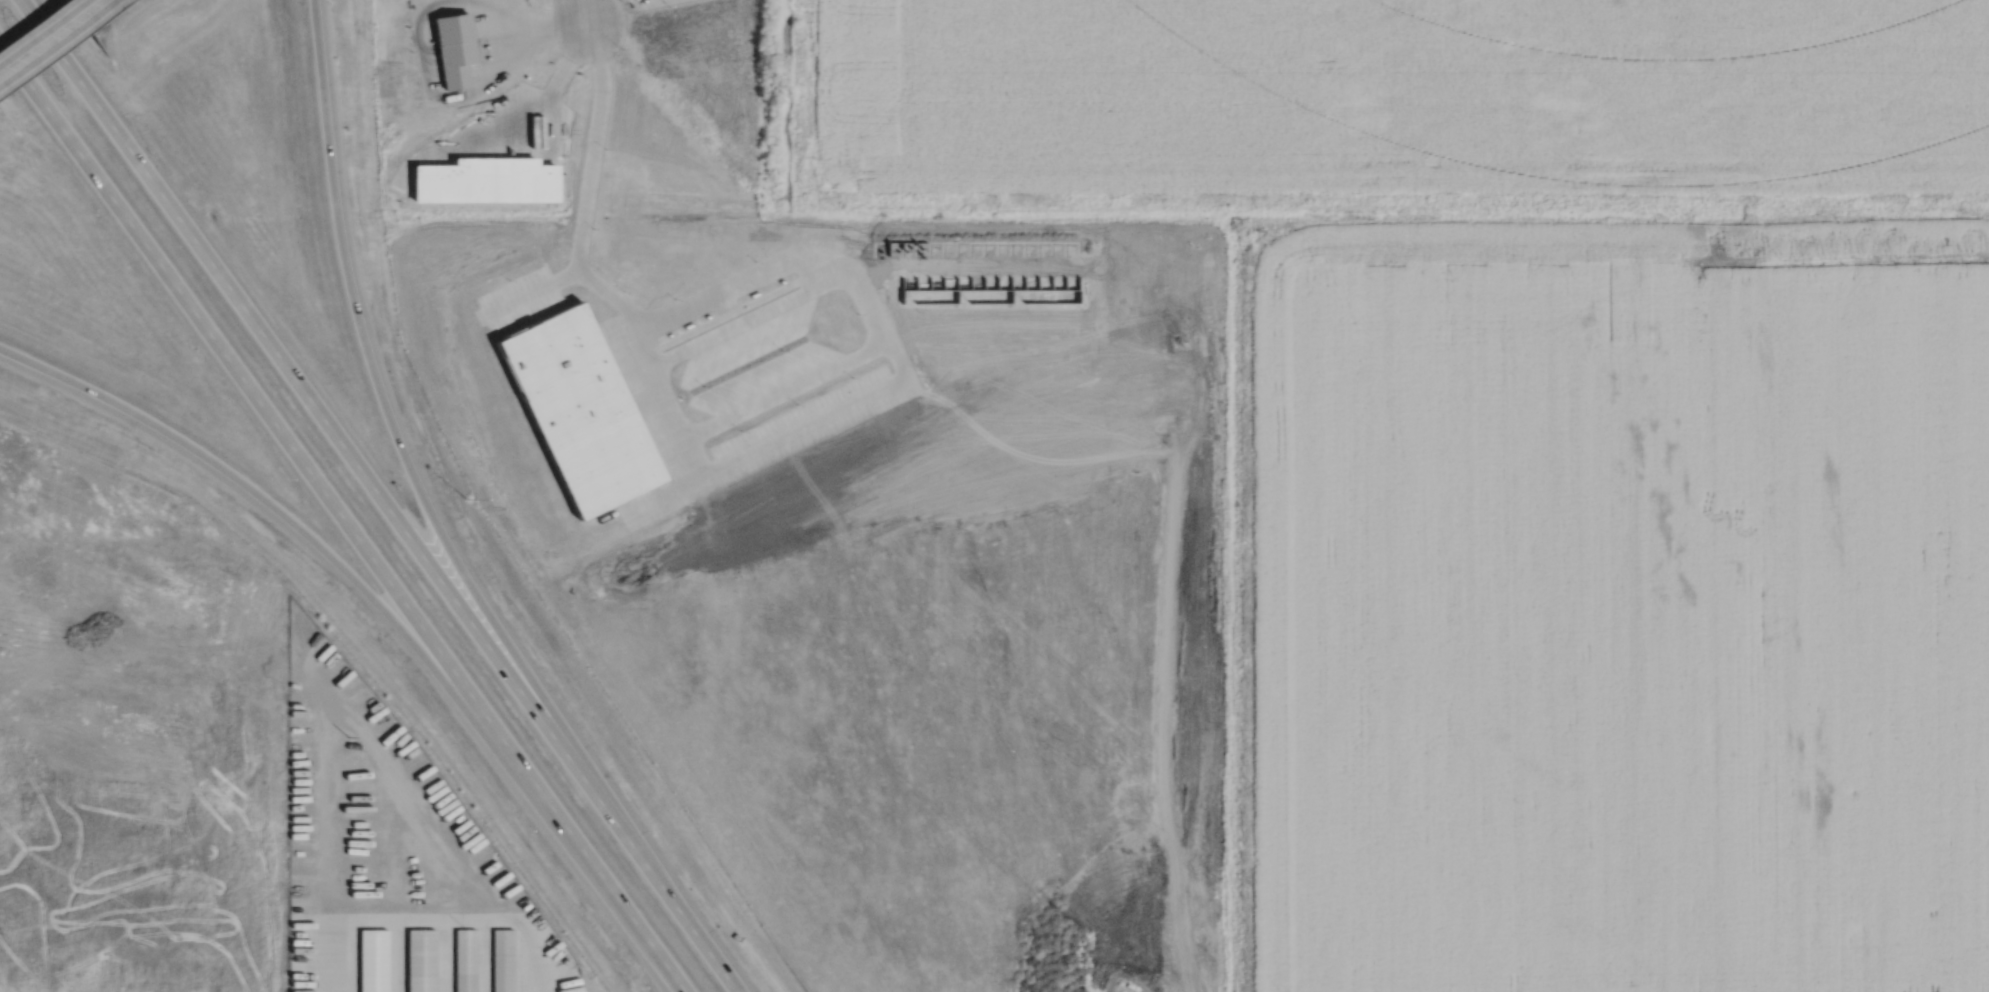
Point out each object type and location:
parking lot: (657, 2)
road: (585, 14)
road: (51, 36)
building: (455, 46)
road: (595, 148)
building: (486, 179)
road: (759, 271)
road: (533, 291)
building: (991, 294)
road: (660, 401)
building: (582, 408)
road: (386, 415)
road: (799, 425)
road: (381, 496)
street lamp: (456, 498)
road: (343, 516)
road: (310, 537)
building: (373, 960)
building: (420, 960)
building: (465, 960)
building: (503, 960)

